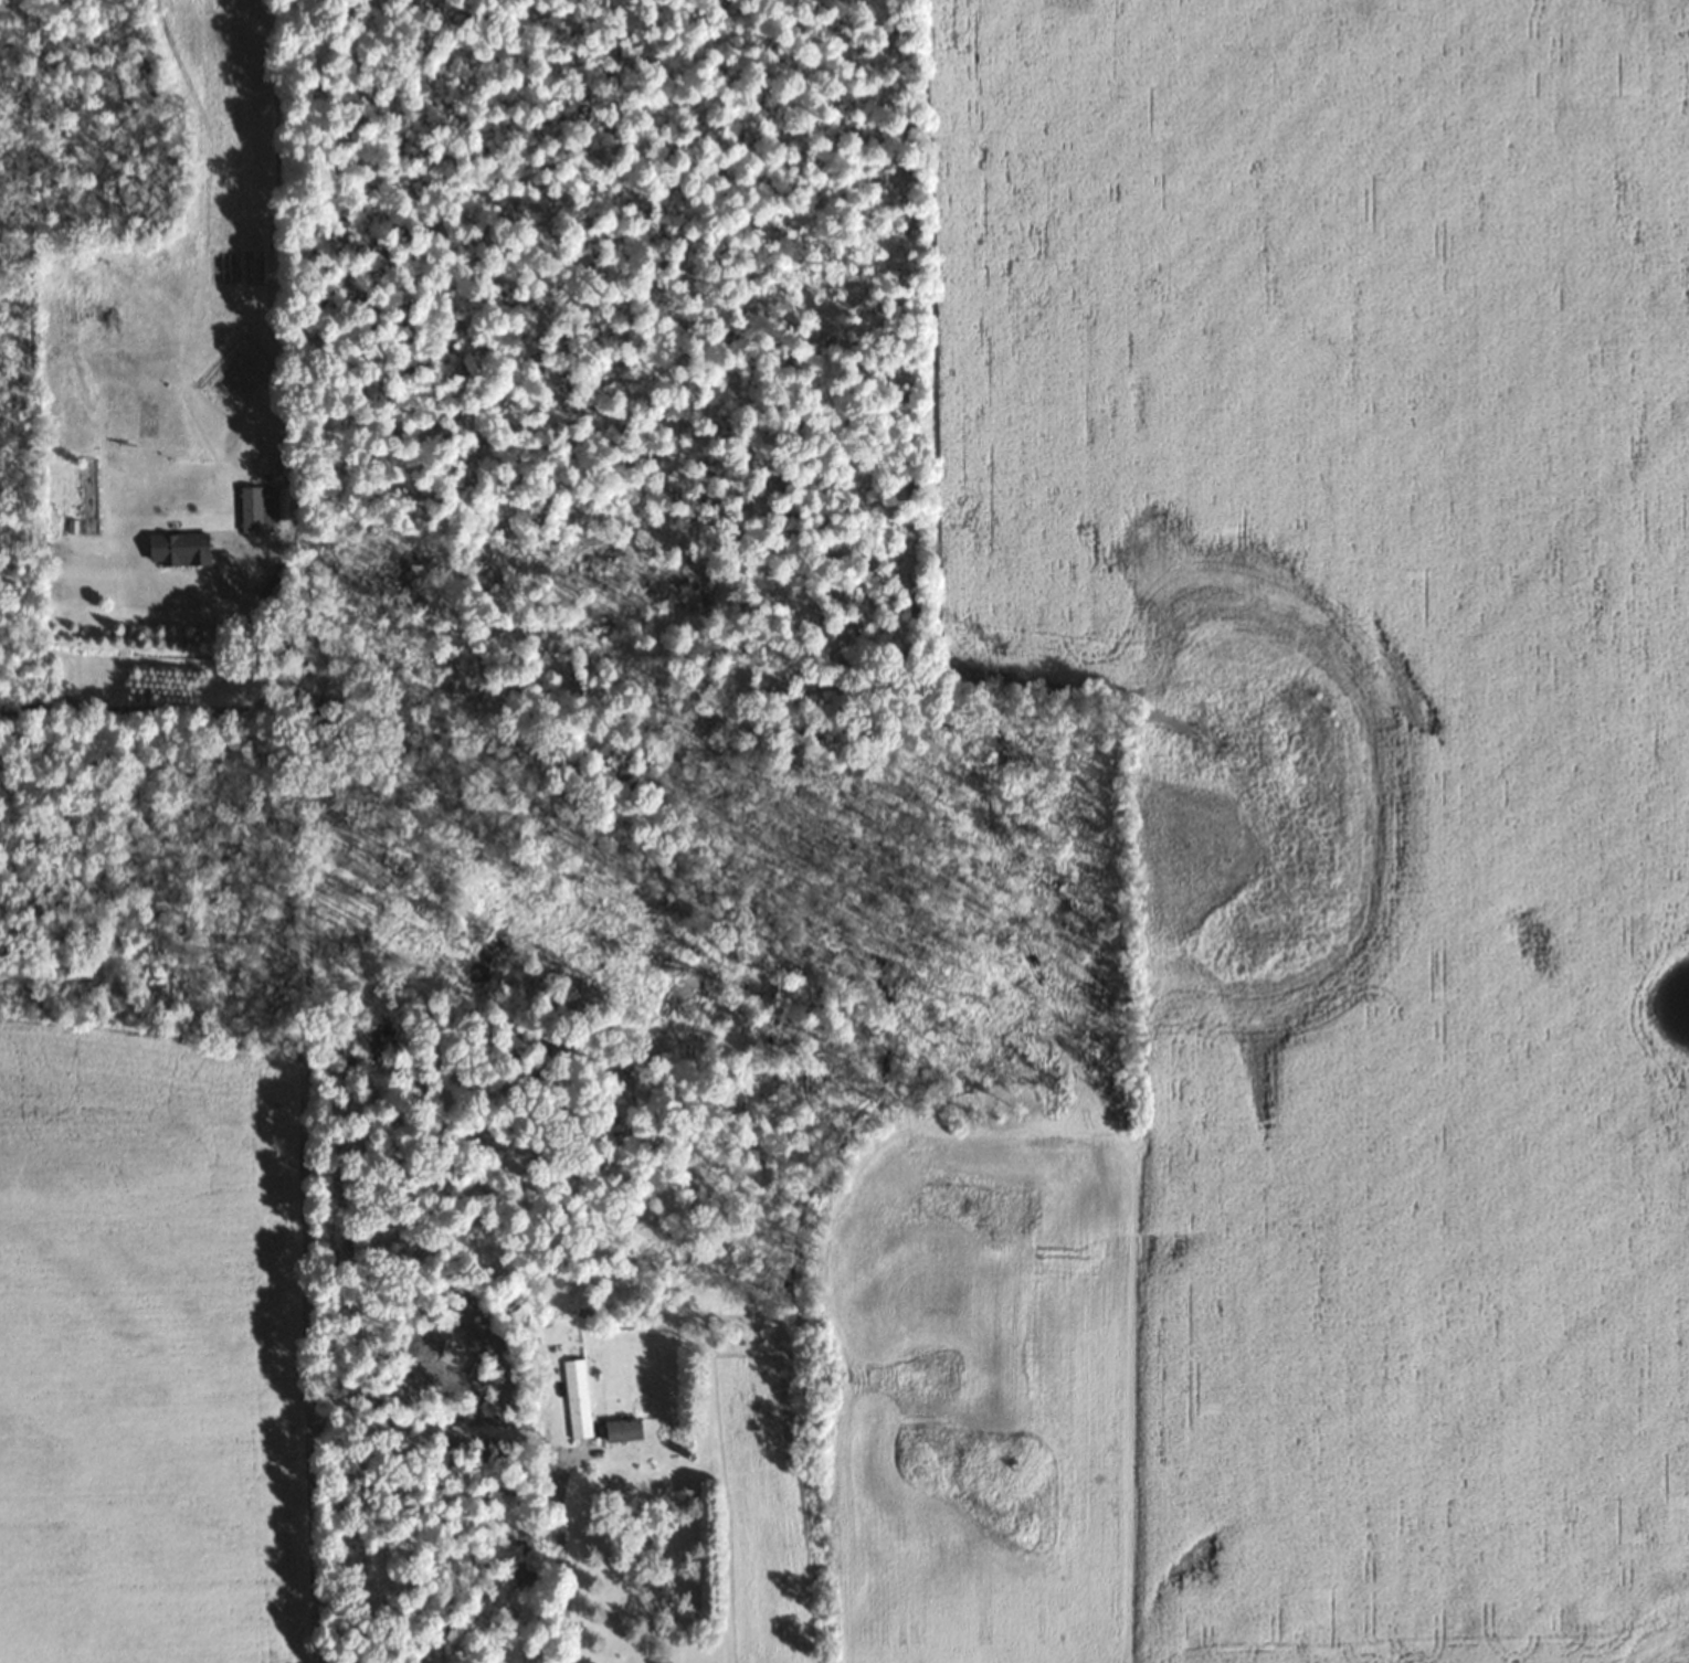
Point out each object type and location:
building: (256, 509)
building: (176, 549)
road: (305, 1104)
building: (576, 1398)
building: (621, 1430)
road: (562, 1558)

